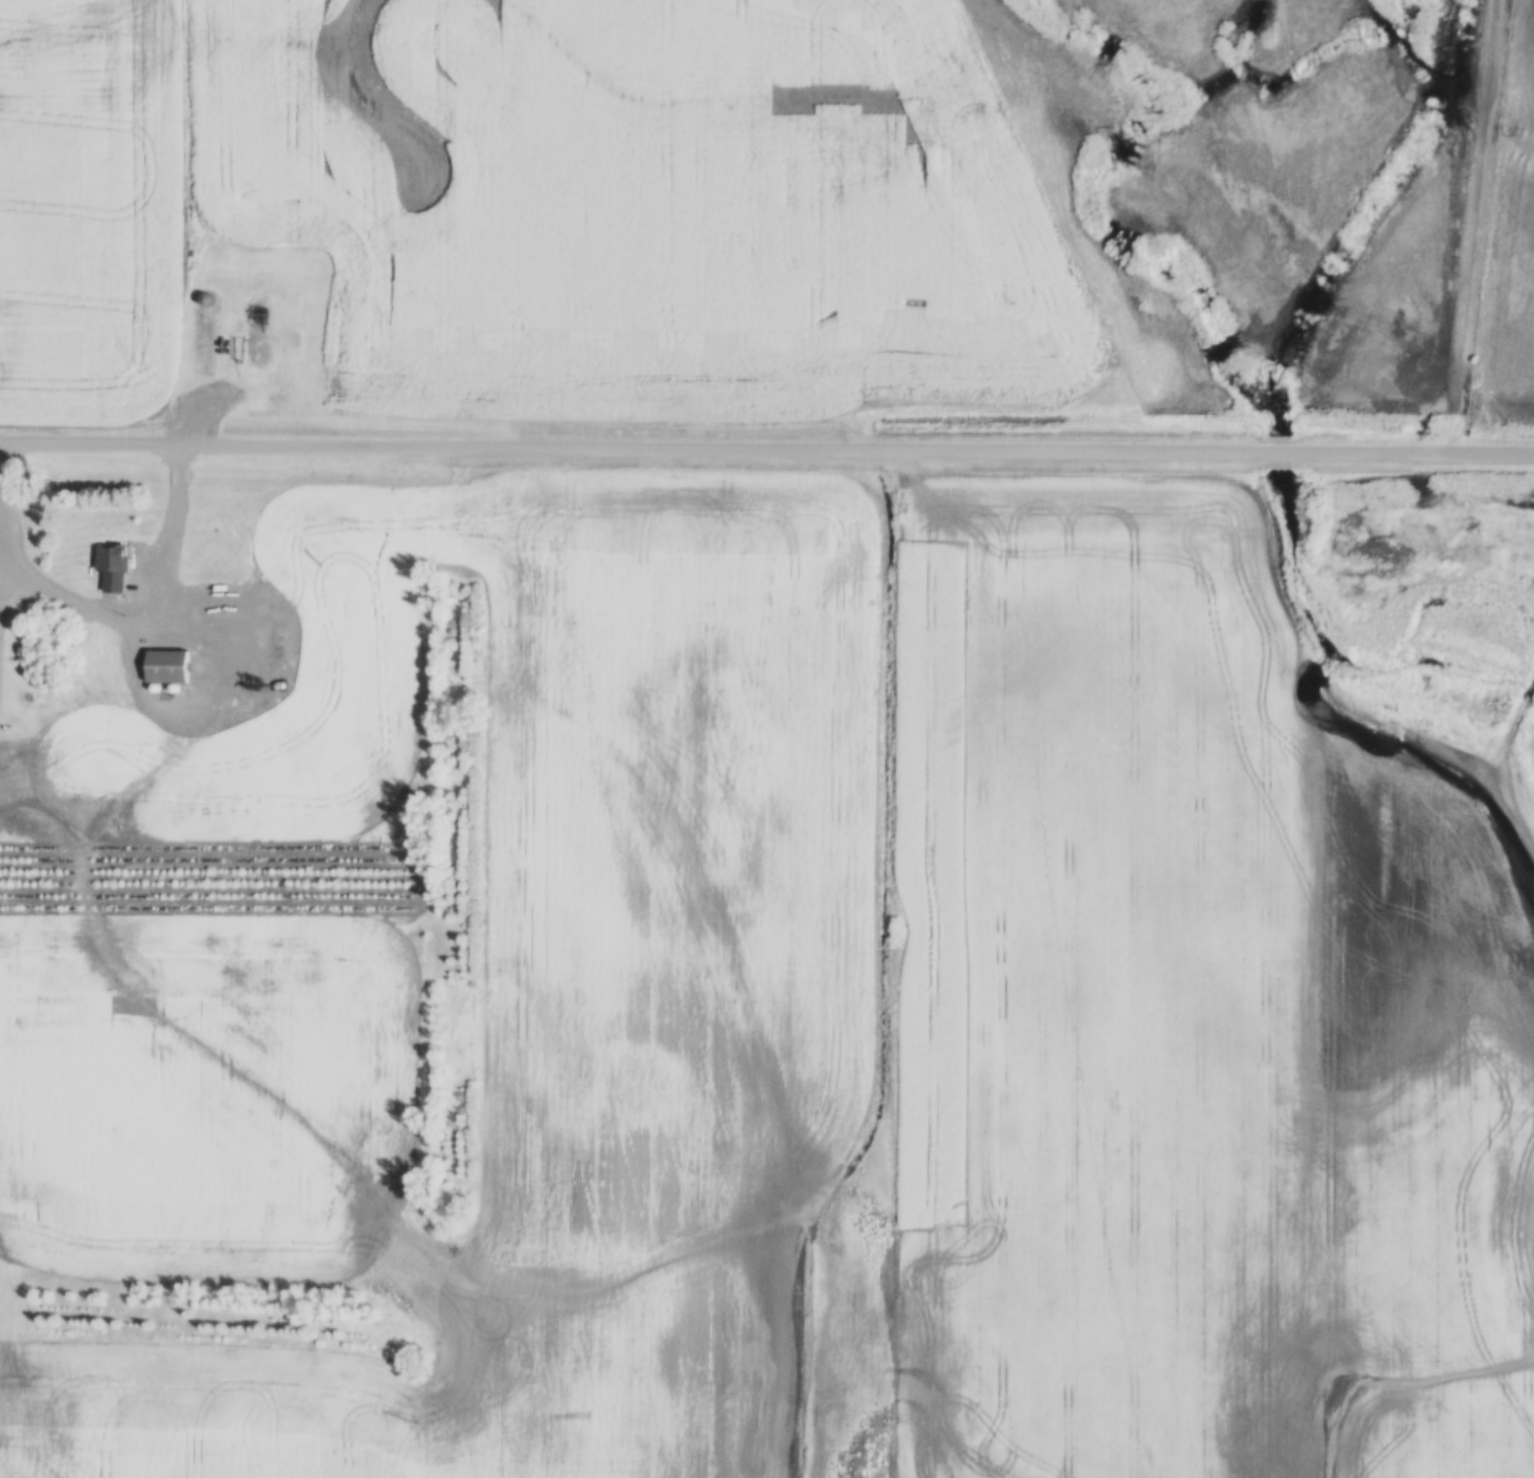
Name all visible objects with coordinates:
road: (736, 101)
road: (384, 114)
building: (259, 304)
building: (260, 321)
building: (258, 338)
road: (885, 397)
road: (194, 407)
road: (766, 452)
road: (2, 465)
building: (115, 567)
building: (224, 604)
road: (142, 606)
building: (170, 665)
road: (389, 679)
road: (1508, 772)
road: (884, 1052)

